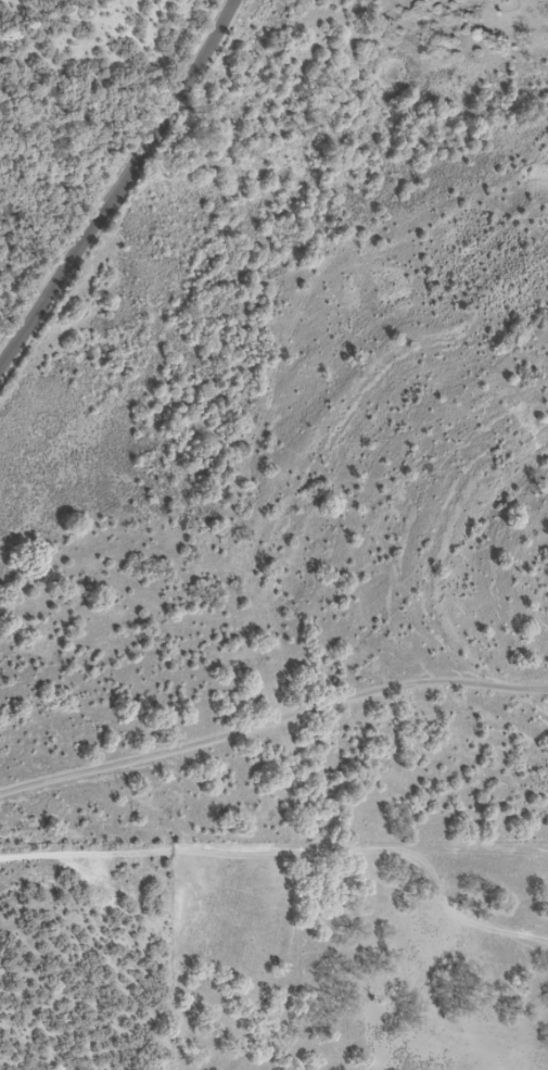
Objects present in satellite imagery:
road: (122, 188)
road: (271, 727)

